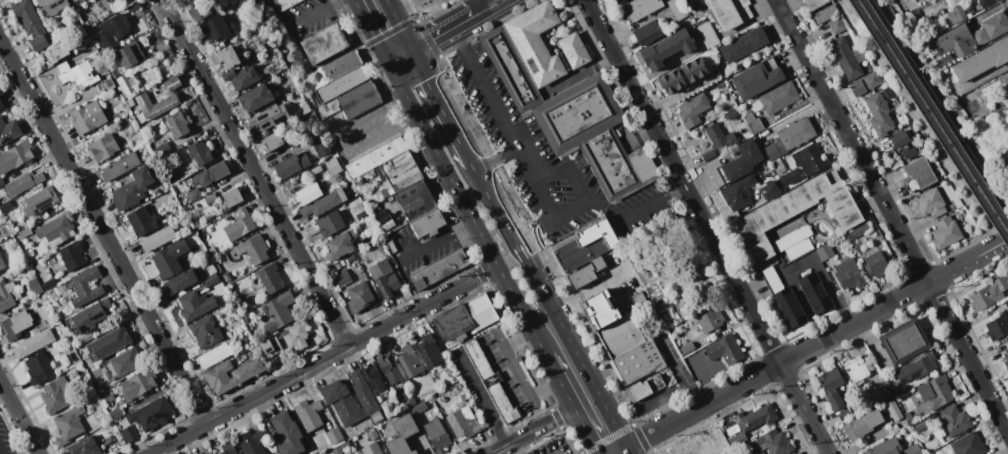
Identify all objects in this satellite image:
building: (73, 0)
building: (74, 0)
building: (112, 1)
building: (194, 1)
building: (985, 2)
building: (280, 4)
road: (478, 4)
building: (814, 4)
building: (52, 6)
building: (134, 6)
building: (641, 8)
building: (677, 9)
road: (316, 10)
building: (198, 12)
building: (729, 13)
building: (826, 14)
building: (956, 14)
parking lot: (307, 17)
road: (396, 21)
building: (31, 23)
building: (837, 25)
road: (439, 26)
road: (460, 28)
building: (216, 29)
building: (114, 31)
building: (648, 32)
road: (371, 33)
building: (973, 34)
building: (708, 35)
building: (536, 42)
building: (322, 44)
traffic signals: (407, 44)
building: (744, 44)
road: (409, 50)
building: (574, 50)
building: (58, 52)
building: (662, 53)
building: (130, 54)
road: (398, 55)
traffic signals: (412, 56)
building: (228, 57)
building: (847, 57)
building: (37, 59)
road: (400, 61)
building: (945, 61)
building: (981, 61)
building: (342, 65)
traffic signals: (389, 66)
building: (511, 68)
building: (77, 73)
building: (113, 73)
building: (683, 75)
building: (1007, 75)
building: (152, 76)
building: (242, 77)
building: (756, 78)
building: (872, 79)
building: (132, 81)
building: (172, 83)
building: (342, 83)
building: (951, 83)
building: (720, 84)
building: (106, 85)
building: (123, 85)
building: (857, 87)
building: (1, 92)
building: (256, 97)
building: (779, 97)
building: (357, 100)
building: (130, 102)
building: (157, 103)
building: (1, 105)
road: (943, 107)
park: (931, 108)
building: (693, 109)
road: (441, 110)
railway: (934, 113)
building: (731, 114)
building: (879, 114)
building: (88, 117)
building: (270, 117)
railway: (929, 121)
building: (754, 123)
building: (177, 125)
building: (8, 130)
building: (912, 131)
building: (595, 136)
building: (720, 137)
building: (789, 138)
building: (899, 138)
road: (348, 139)
building: (272, 141)
road: (514, 144)
building: (102, 148)
building: (162, 148)
building: (201, 152)
building: (709, 155)
building: (1006, 155)
building: (16, 156)
building: (376, 157)
building: (810, 159)
road: (495, 160)
building: (743, 160)
building: (292, 164)
building: (778, 165)
building: (121, 166)
building: (316, 169)
building: (401, 170)
road: (255, 173)
building: (718, 173)
building: (211, 174)
building: (919, 174)
building: (792, 175)
building: (24, 182)
building: (1, 183)
road: (577, 184)
building: (133, 188)
building: (769, 190)
building: (385, 192)
building: (738, 192)
building: (308, 193)
building: (194, 194)
building: (232, 197)
building: (210, 198)
building: (417, 199)
building: (40, 201)
building: (324, 203)
road: (491, 203)
building: (930, 203)
building: (6, 207)
building: (375, 209)
road: (467, 210)
road: (636, 211)
building: (798, 211)
building: (378, 215)
building: (360, 216)
road: (891, 216)
building: (384, 219)
building: (142, 220)
building: (428, 223)
building: (240, 224)
building: (330, 224)
building: (388, 225)
road: (706, 226)
building: (56, 231)
building: (24, 232)
road: (102, 232)
building: (858, 232)
building: (946, 232)
building: (158, 238)
building: (792, 238)
road: (437, 241)
building: (340, 244)
building: (586, 245)
building: (391, 246)
building: (254, 249)
building: (799, 249)
building: (825, 252)
building: (72, 255)
building: (170, 258)
building: (875, 261)
road: (968, 262)
building: (2, 263)
park: (1006, 265)
building: (438, 270)
building: (587, 272)
building: (849, 274)
building: (227, 276)
building: (343, 277)
building: (270, 278)
building: (384, 278)
building: (211, 279)
building: (772, 280)
building: (181, 281)
building: (49, 283)
road: (408, 284)
building: (36, 286)
building: (86, 286)
building: (815, 293)
building: (989, 294)
building: (8, 295)
building: (360, 296)
building: (1006, 303)
building: (195, 304)
building: (789, 307)
building: (278, 311)
building: (480, 312)
building: (91, 316)
building: (711, 319)
building: (18, 323)
building: (454, 323)
building: (997, 327)
building: (206, 331)
building: (296, 335)
building: (621, 335)
building: (711, 336)
building: (1006, 340)
building: (33, 342)
building: (109, 342)
building: (905, 342)
road: (570, 345)
building: (271, 346)
building: (686, 348)
building: (724, 349)
building: (430, 350)
building: (215, 355)
building: (1006, 357)
road: (324, 360)
building: (410, 360)
building: (639, 361)
building: (123, 363)
road: (777, 365)
building: (388, 367)
building: (39, 368)
building: (917, 368)
building: (857, 369)
road: (516, 370)
road: (678, 373)
building: (232, 374)
building: (1007, 375)
building: (373, 377)
building: (831, 379)
road: (560, 381)
building: (491, 382)
building: (139, 384)
building: (647, 387)
building: (885, 392)
building: (936, 392)
building: (55, 395)
road: (4, 396)
building: (464, 396)
building: (350, 398)
road: (482, 398)
building: (834, 400)
building: (412, 401)
building: (419, 407)
building: (893, 410)
building: (116, 413)
building: (150, 413)
building: (309, 414)
building: (844, 414)
road: (19, 416)
building: (376, 416)
road: (559, 416)
building: (757, 417)
building: (909, 417)
building: (954, 420)
building: (464, 422)
building: (68, 424)
building: (862, 425)
building: (895, 427)
building: (922, 427)
road: (586, 430)
building: (734, 431)
building: (129, 433)
building: (287, 433)
building: (751, 433)
building: (925, 433)
building: (373, 435)
building: (402, 435)
building: (437, 435)
building: (334, 436)
road: (518, 439)
parking lot: (7, 440)
building: (251, 442)
building: (771, 442)
building: (972, 444)
building: (344, 446)
building: (84, 447)
building: (886, 447)
building: (951, 447)
building: (228, 448)
building: (372, 449)
building: (913, 449)
building: (337, 450)
road: (621, 451)
road: (628, 451)
building: (206, 453)
building: (208, 453)

